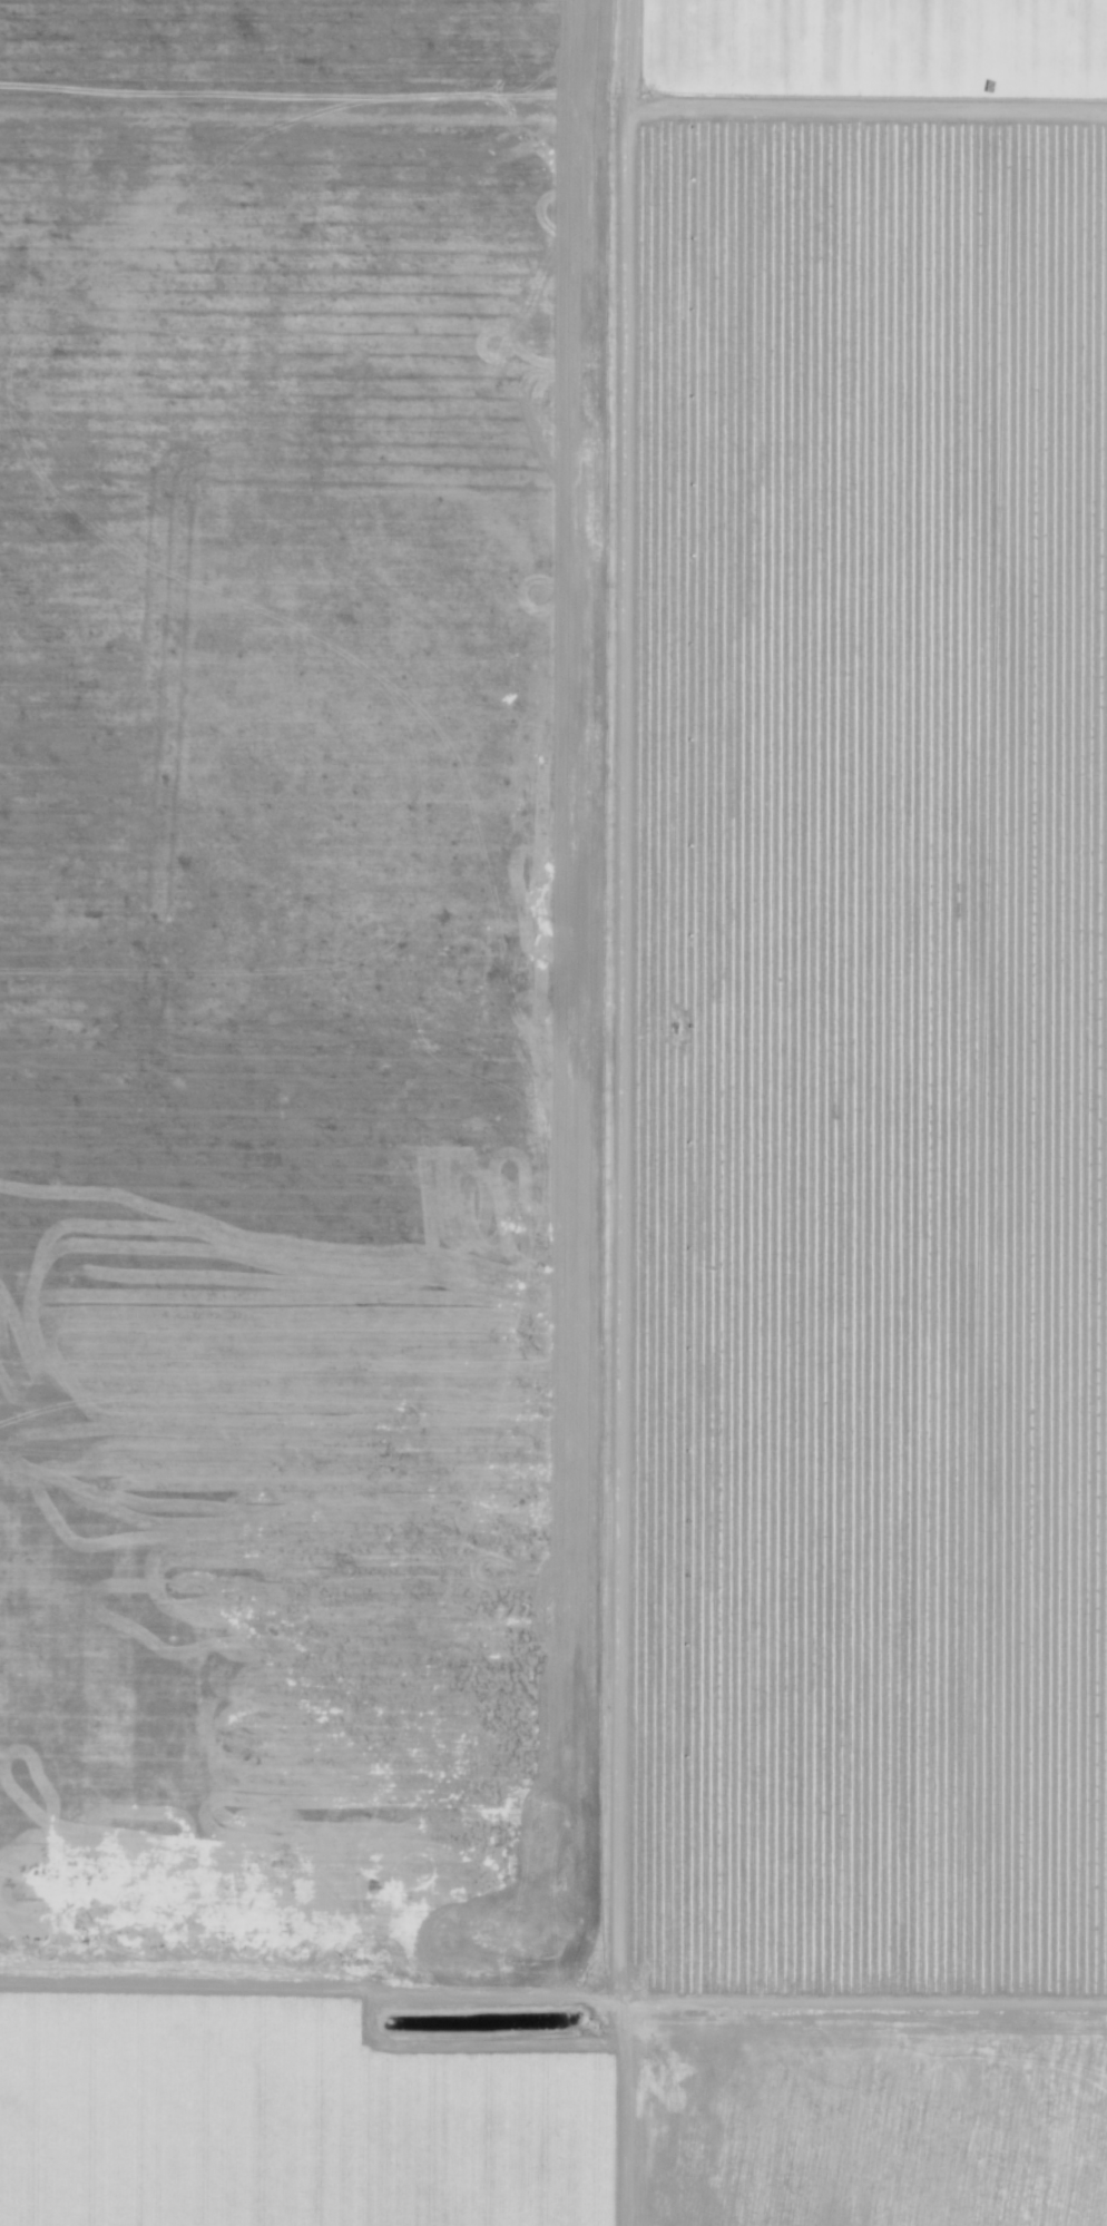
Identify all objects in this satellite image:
crop: (858, 63)
road: (886, 117)
road: (659, 1112)
airport: (205, 1684)
road: (956, 1989)

